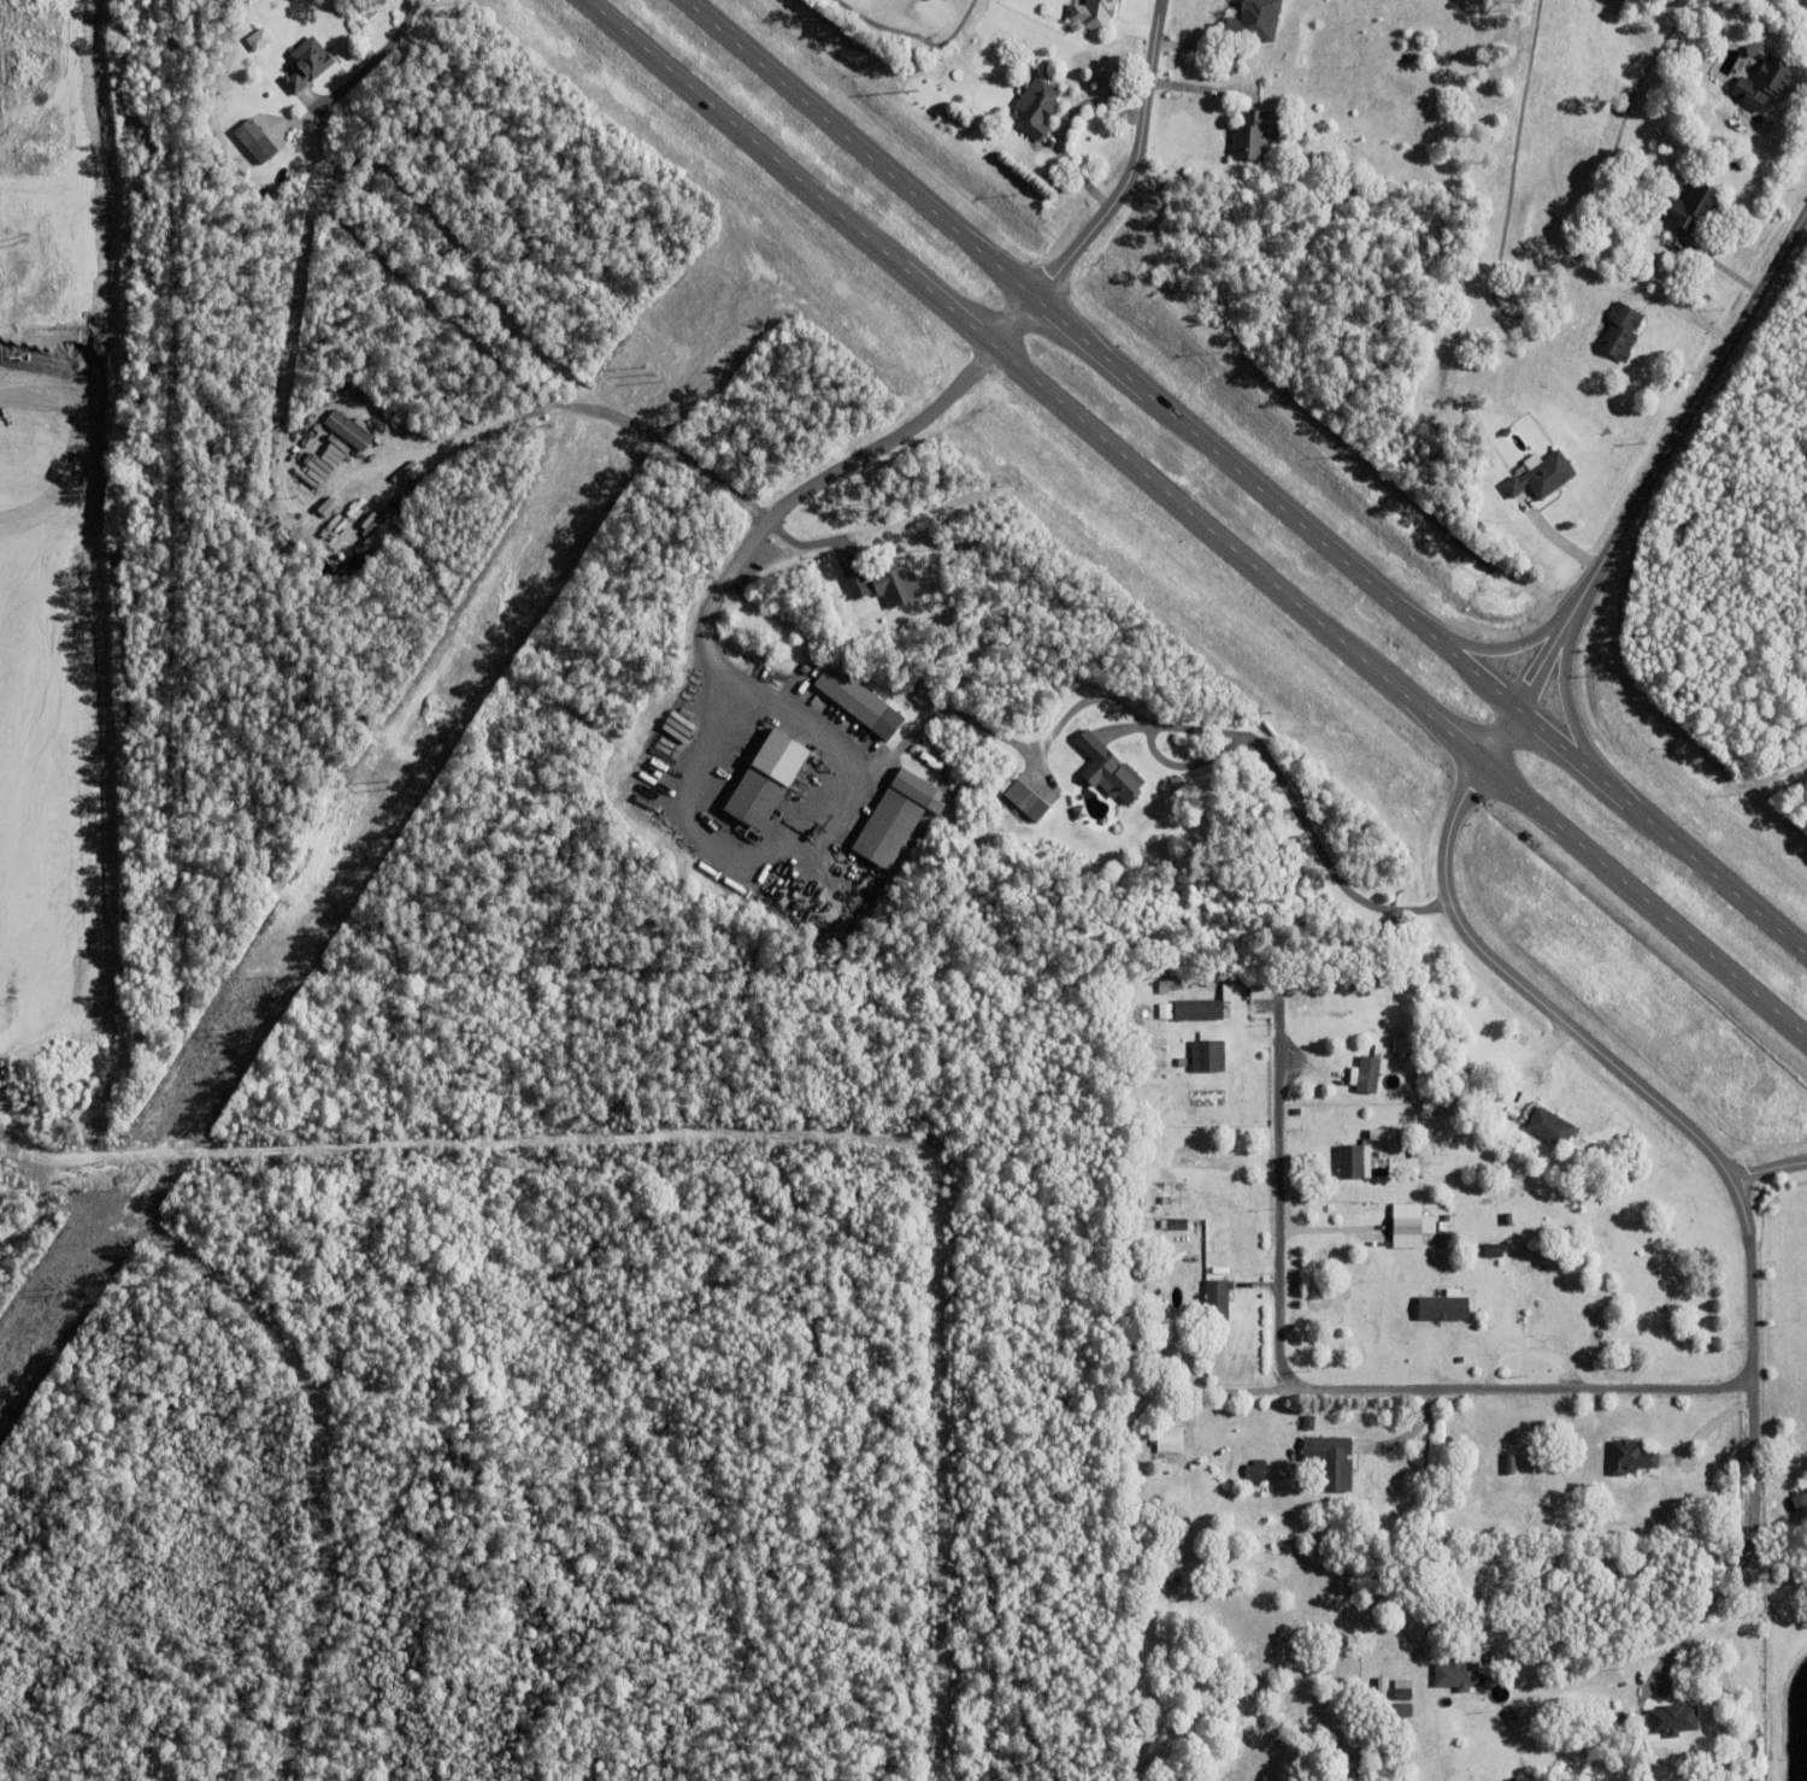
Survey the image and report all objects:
building: (1094, 16)
building: (1254, 22)
park: (914, 30)
building: (257, 39)
road: (372, 60)
building: (306, 67)
building: (1764, 87)
building: (1035, 111)
building: (1254, 136)
building: (255, 145)
building: (1717, 182)
park: (1542, 187)
road: (1120, 193)
building: (1690, 210)
building: (1620, 334)
road: (585, 408)
building: (347, 429)
building: (1506, 435)
building: (323, 460)
road: (1246, 478)
building: (1541, 479)
road: (819, 482)
road: (1644, 489)
building: (332, 493)
building: (325, 507)
road: (1195, 519)
building: (895, 580)
building: (855, 585)
building: (849, 691)
road: (1093, 700)
building: (1113, 774)
building: (766, 775)
building: (917, 791)
building: (1026, 797)
building: (884, 828)
building: (1170, 984)
building: (1341, 987)
building: (1229, 992)
building: (1199, 1009)
building: (1400, 1044)
building: (1208, 1055)
building: (1459, 1072)
building: (1367, 1073)
building: (1544, 1092)
road: (1672, 1115)
building: (1550, 1126)
building: (1353, 1162)
road: (1767, 1170)
building: (1364, 1196)
building: (1519, 1208)
building: (1178, 1225)
building: (1406, 1226)
building: (1515, 1231)
building: (1493, 1251)
building: (1216, 1299)
building: (1540, 1303)
building: (1441, 1309)
road: (1326, 1391)
building: (1309, 1422)
building: (1167, 1440)
building: (1297, 1449)
building: (1629, 1457)
building: (1332, 1461)
building: (1255, 1472)
building: (1806, 1486)
building: (1800, 1504)
road: (1131, 1510)
building: (1448, 1541)
road: (1572, 1556)
road: (1702, 1611)
building: (1456, 1675)
building: (1377, 1681)
building: (1403, 1681)
building: (1402, 1694)
building: (1511, 1715)
building: (1397, 1722)
building: (1678, 1726)
building: (1641, 1742)

